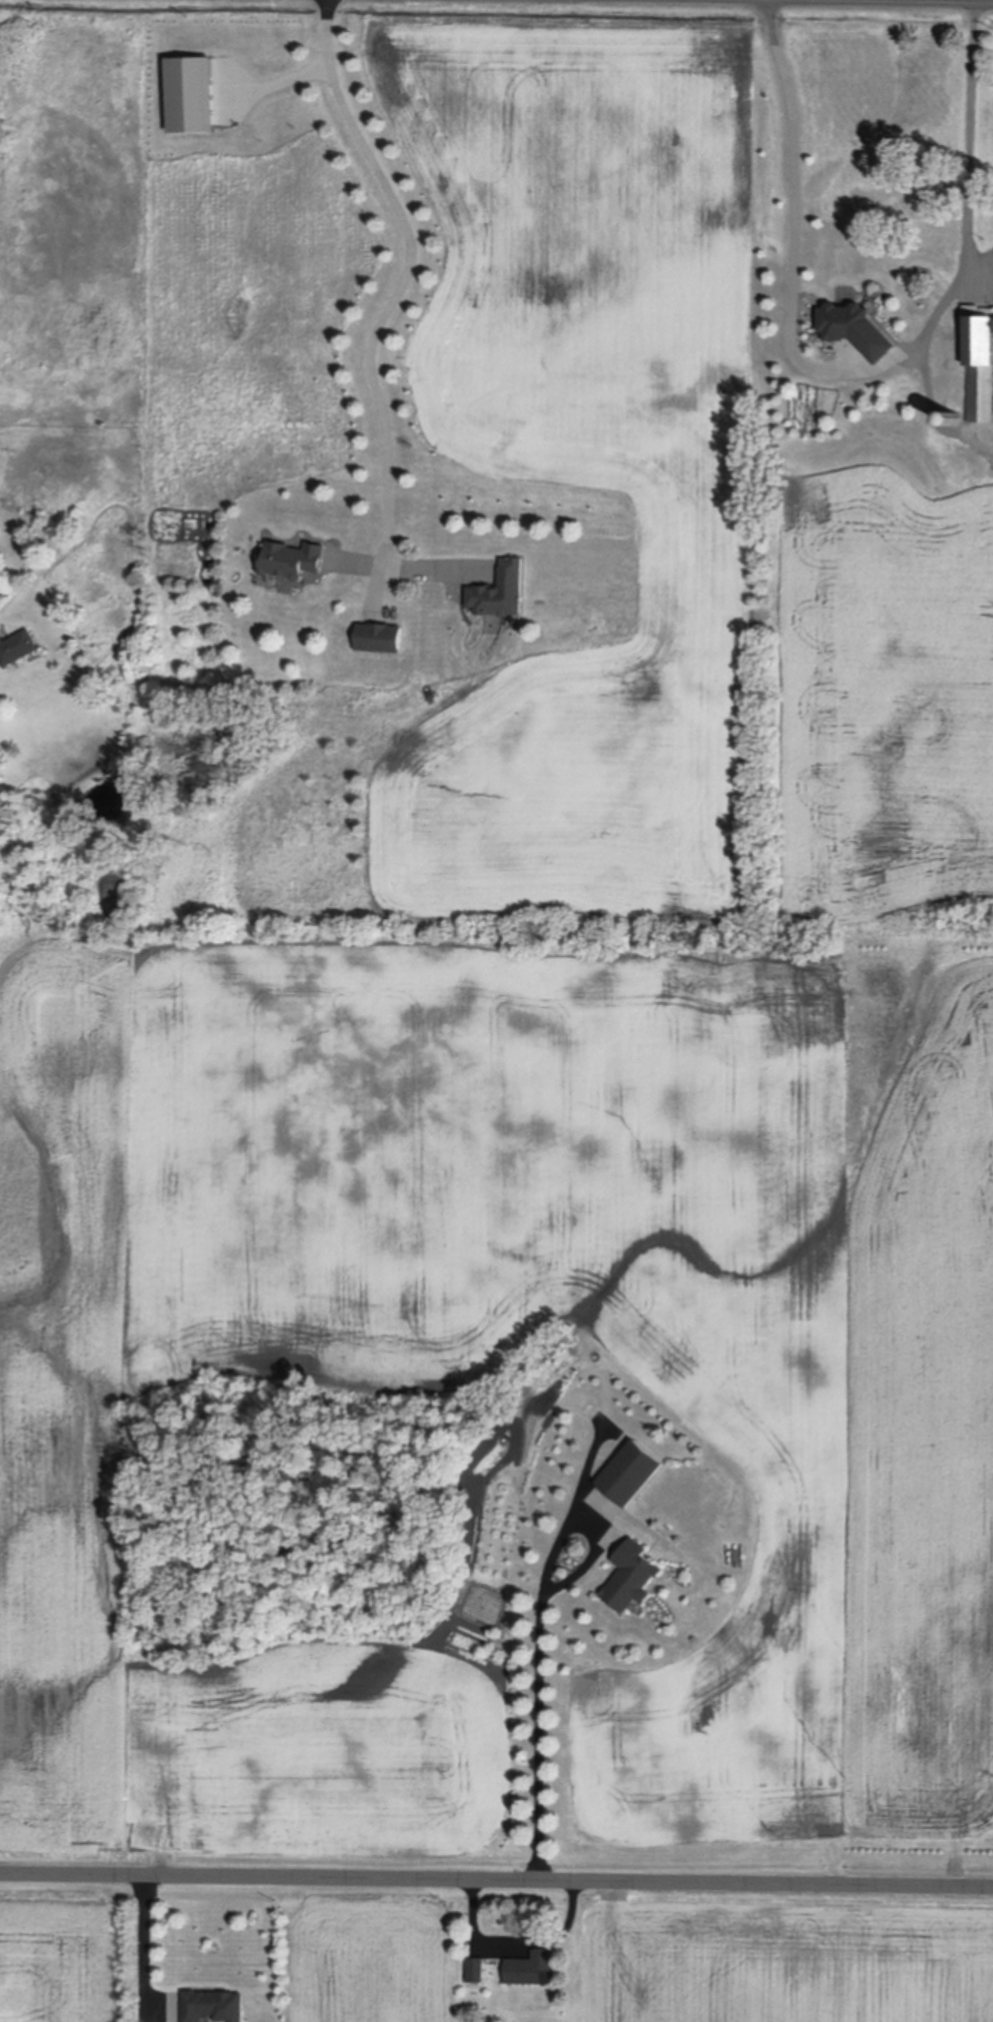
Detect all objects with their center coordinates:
building: (191, 91)
road: (380, 324)
building: (854, 327)
building: (979, 361)
road: (853, 372)
building: (952, 417)
building: (292, 557)
building: (502, 592)
building: (379, 636)
building: (17, 646)
building: (63, 838)
building: (632, 1474)
building: (632, 1577)
road: (542, 1651)
road: (496, 1882)
road: (143, 1940)
building: (532, 1970)
building: (476, 1971)
building: (213, 2006)

